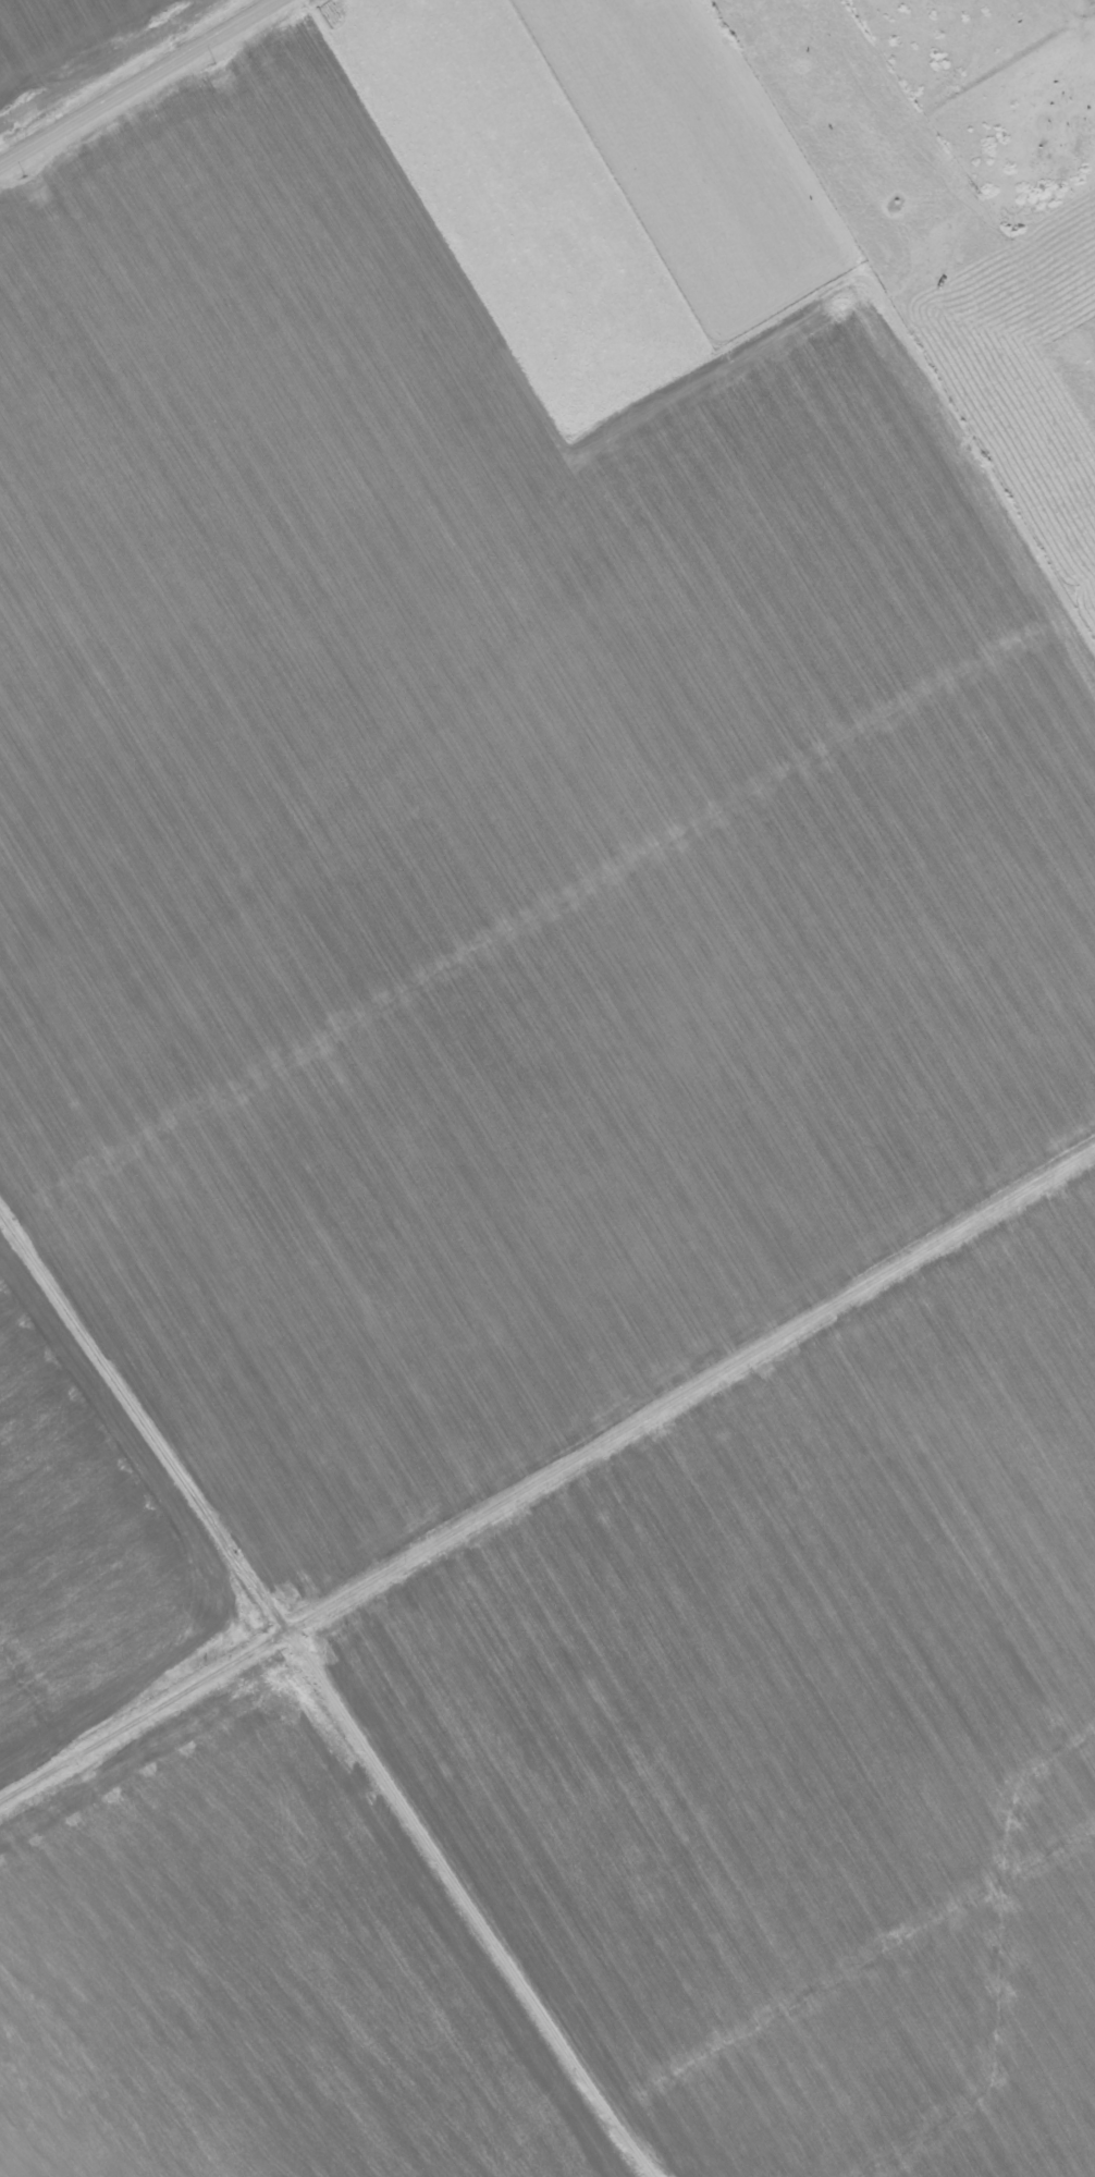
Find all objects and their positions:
road: (137, 83)

